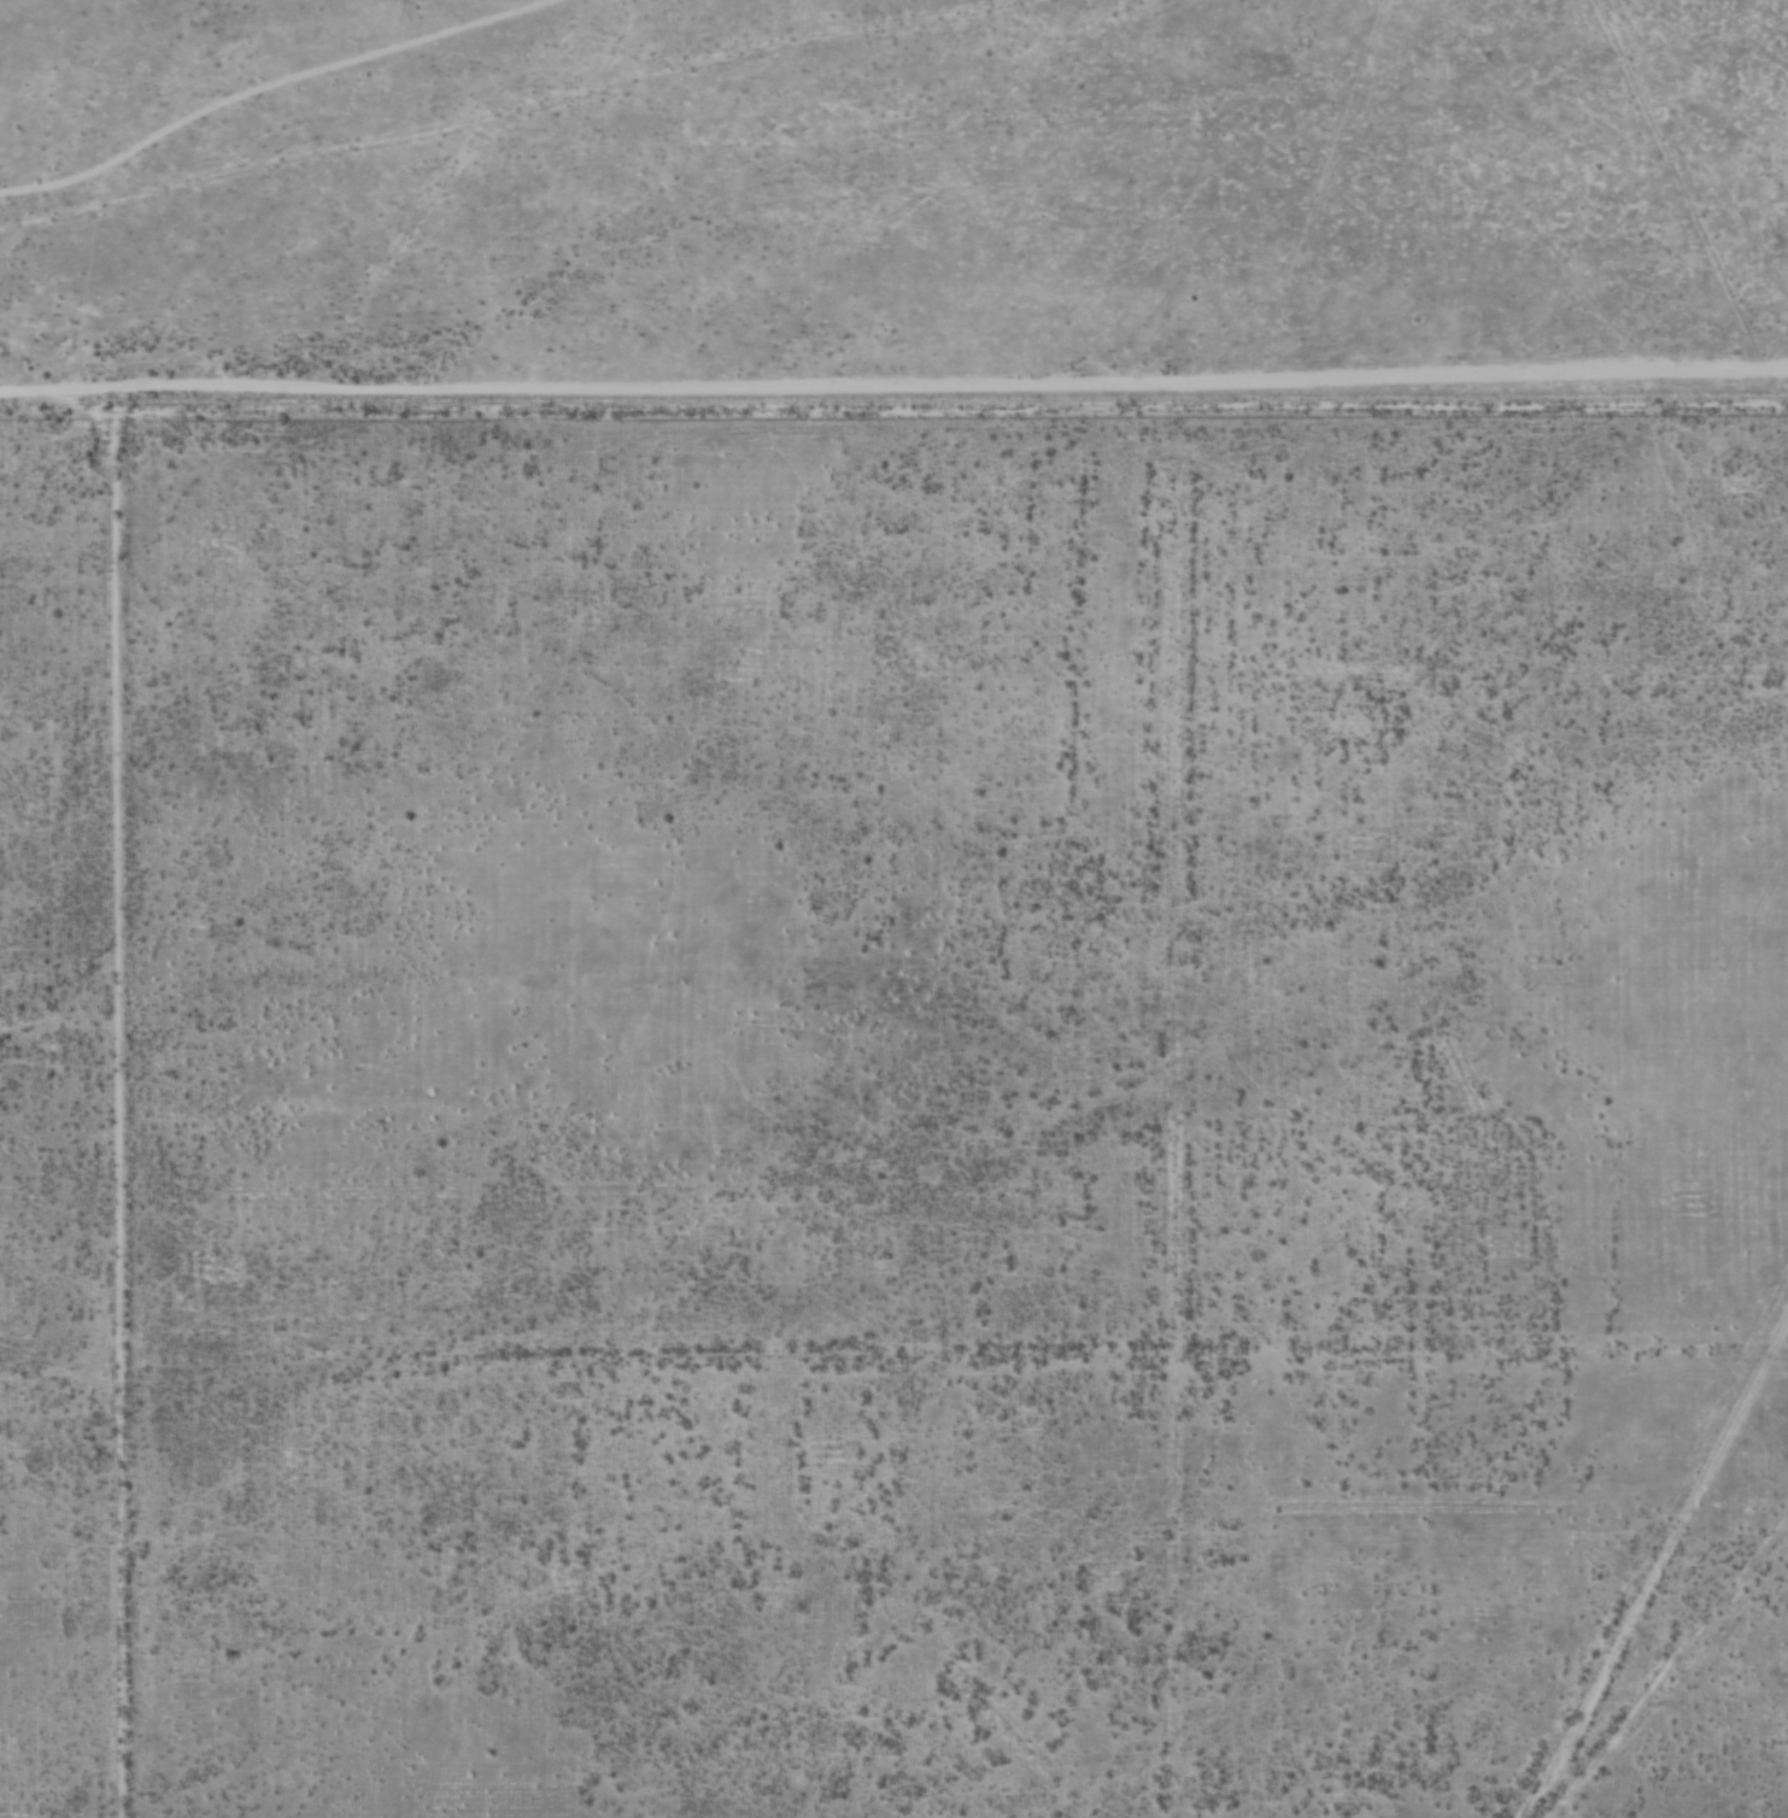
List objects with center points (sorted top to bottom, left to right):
road: (1524, 1074)
road: (758, 1273)
road: (1214, 1656)
road: (1025, 1706)

